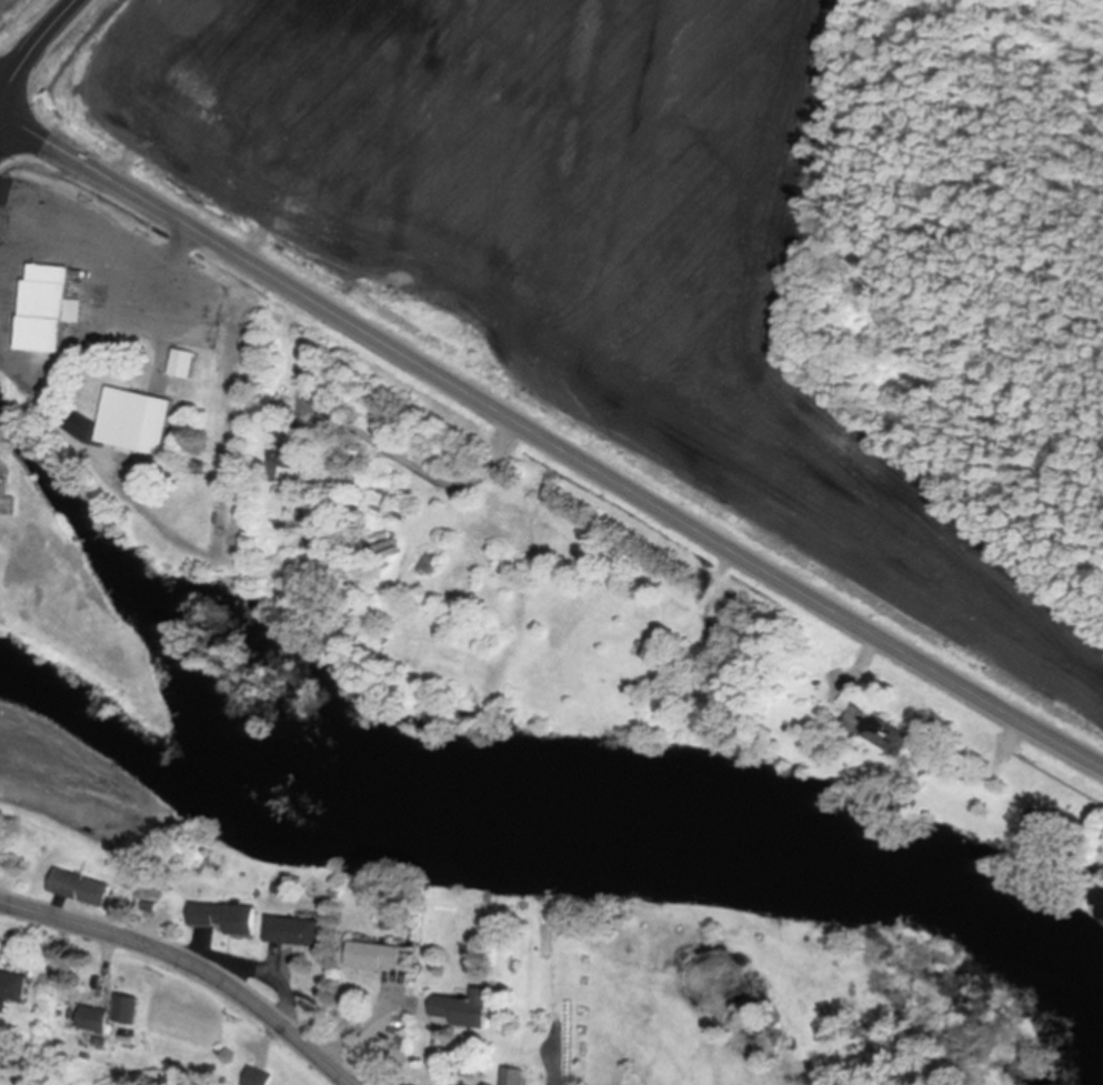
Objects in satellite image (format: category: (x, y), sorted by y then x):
road: (32, 46)
building: (48, 311)
building: (182, 365)
building: (136, 422)
road: (549, 441)
road: (429, 473)
building: (1, 481)
road: (713, 589)
road: (866, 657)
river: (187, 673)
building: (878, 732)
road: (1010, 742)
river: (549, 836)
building: (80, 890)
building: (1100, 913)
building: (224, 918)
building: (293, 933)
building: (375, 958)
road: (191, 962)
building: (13, 986)
road: (284, 988)
road: (78, 993)
building: (464, 1009)
building: (127, 1011)
building: (93, 1021)
road: (361, 1031)
building: (513, 1077)
building: (255, 1078)

